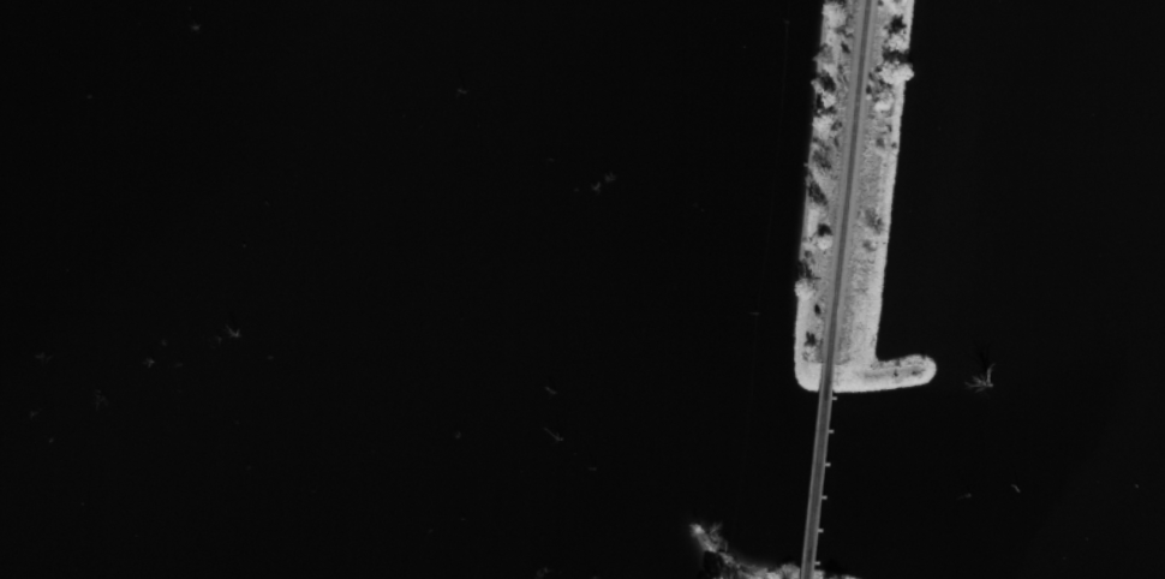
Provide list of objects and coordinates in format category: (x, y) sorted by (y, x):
railway: (849, 179)
railway: (819, 468)

